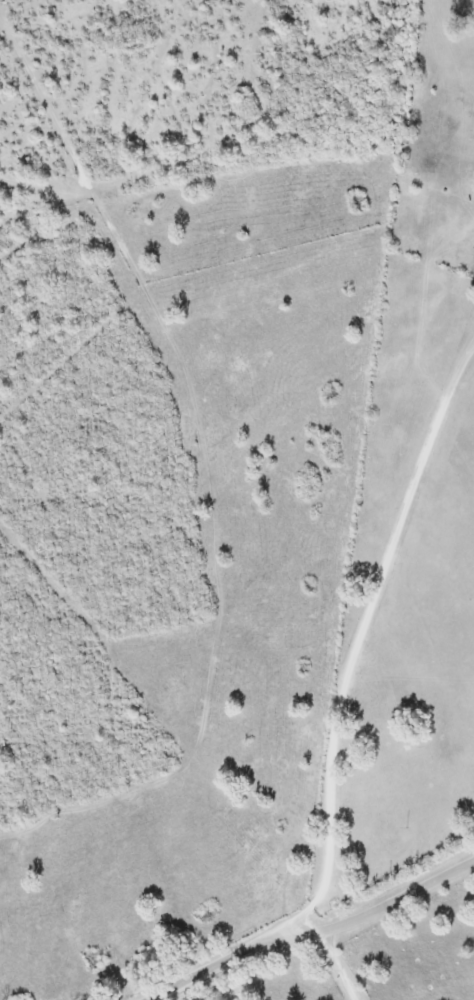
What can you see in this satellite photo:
road: (362, 614)
road: (343, 939)
road: (225, 965)

